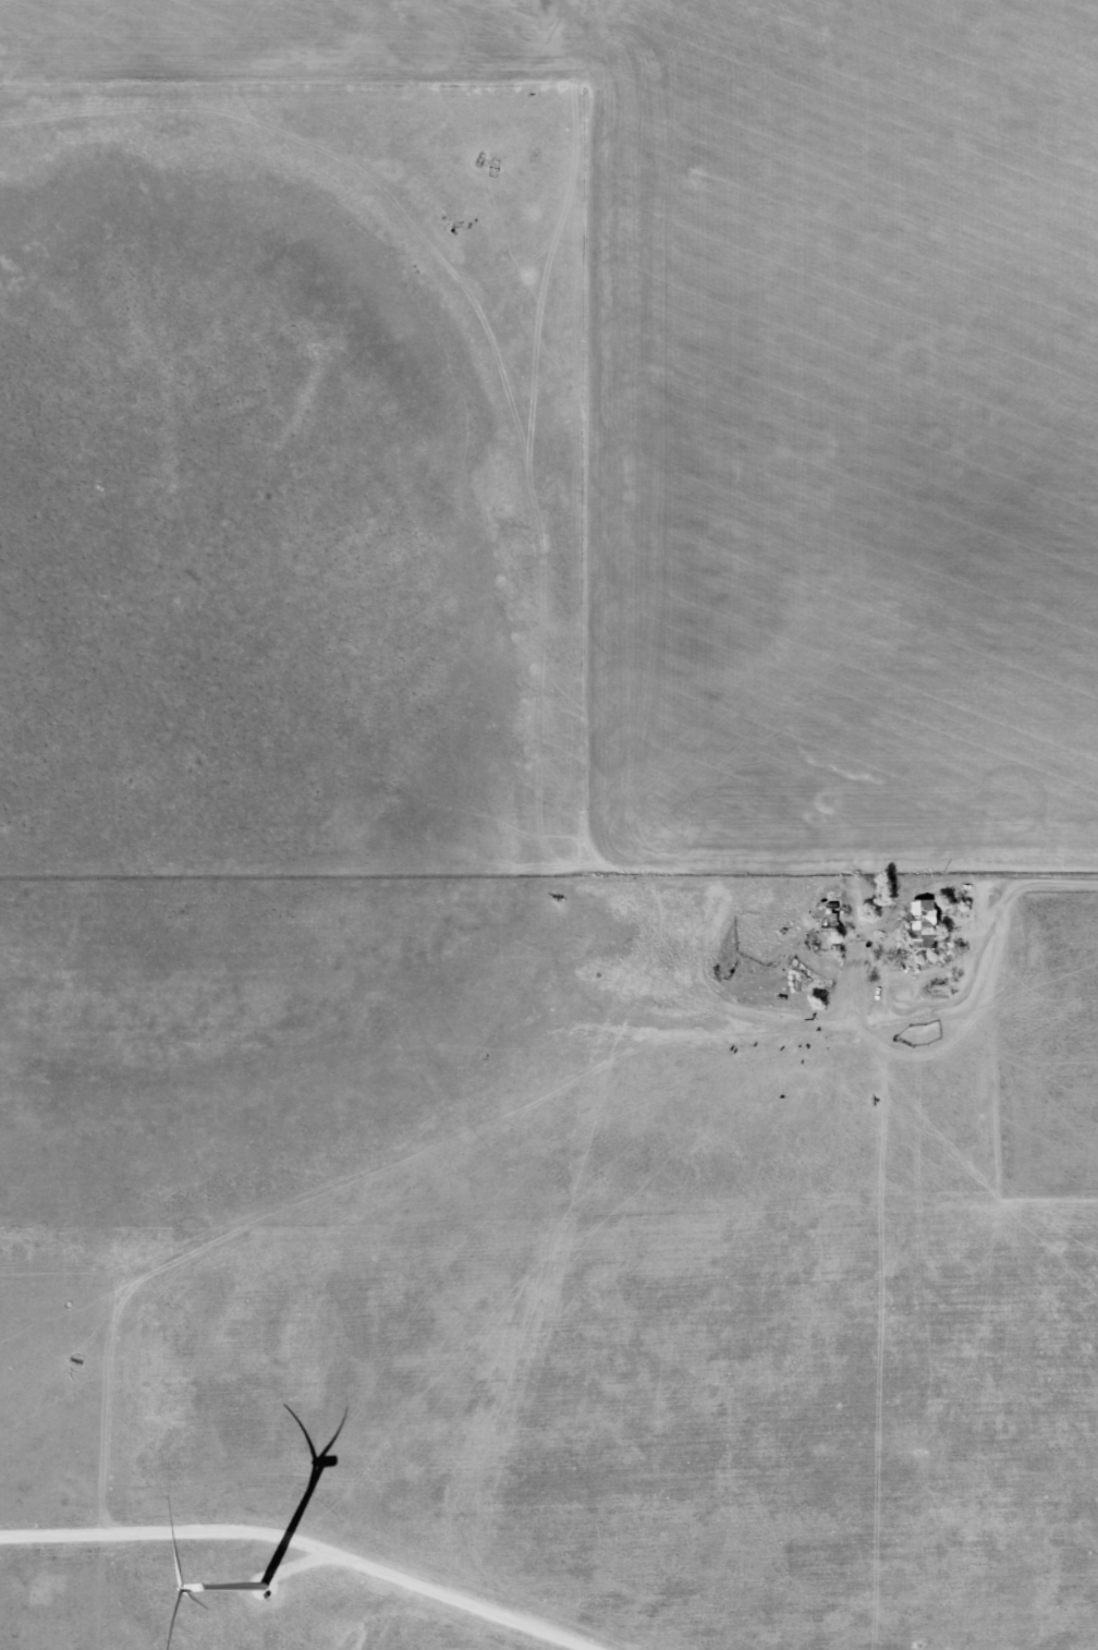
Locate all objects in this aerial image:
building: (916, 923)
road: (979, 947)
road: (304, 1543)
road: (303, 1563)
wind turbine: (264, 1594)

